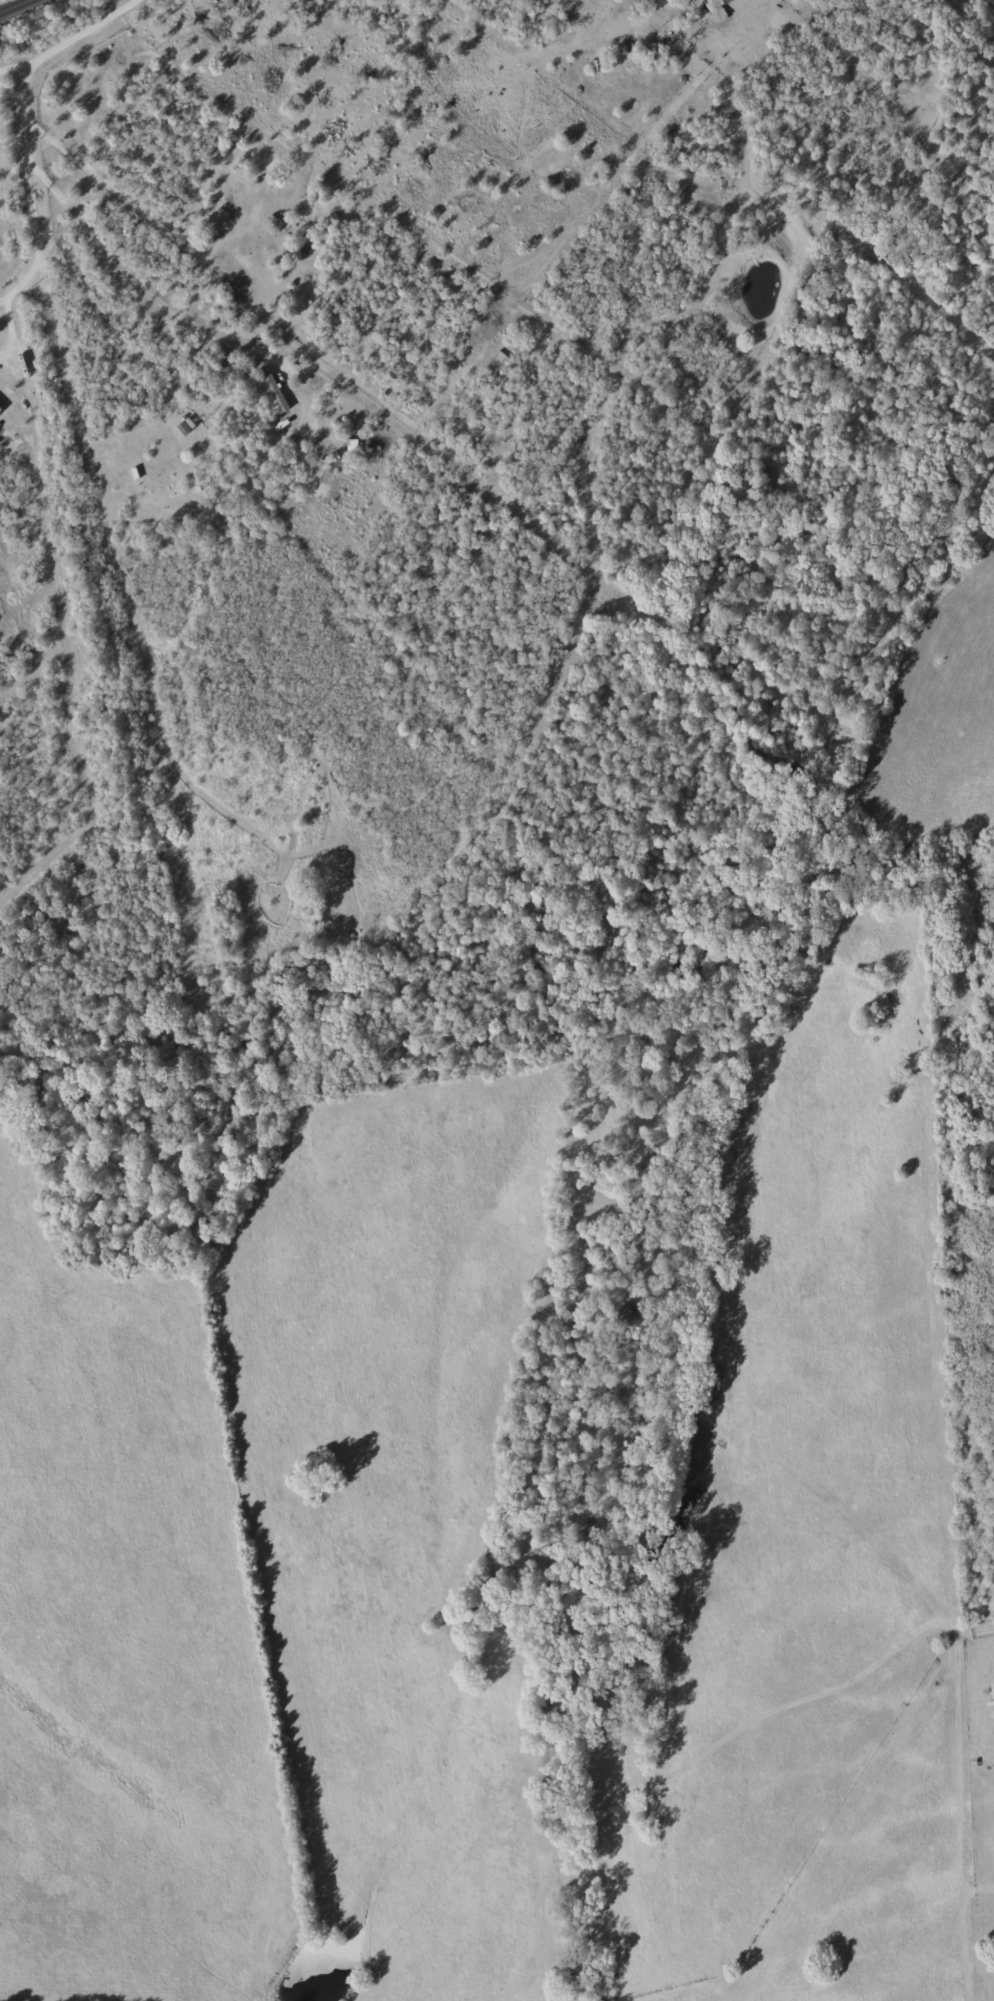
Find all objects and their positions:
railway: (16, 6)
road: (13, 69)
road: (80, 121)
road: (20, 131)
road: (147, 228)
road: (26, 280)
road: (3, 302)
road: (12, 331)
building: (275, 394)
building: (1, 410)
building: (353, 446)

